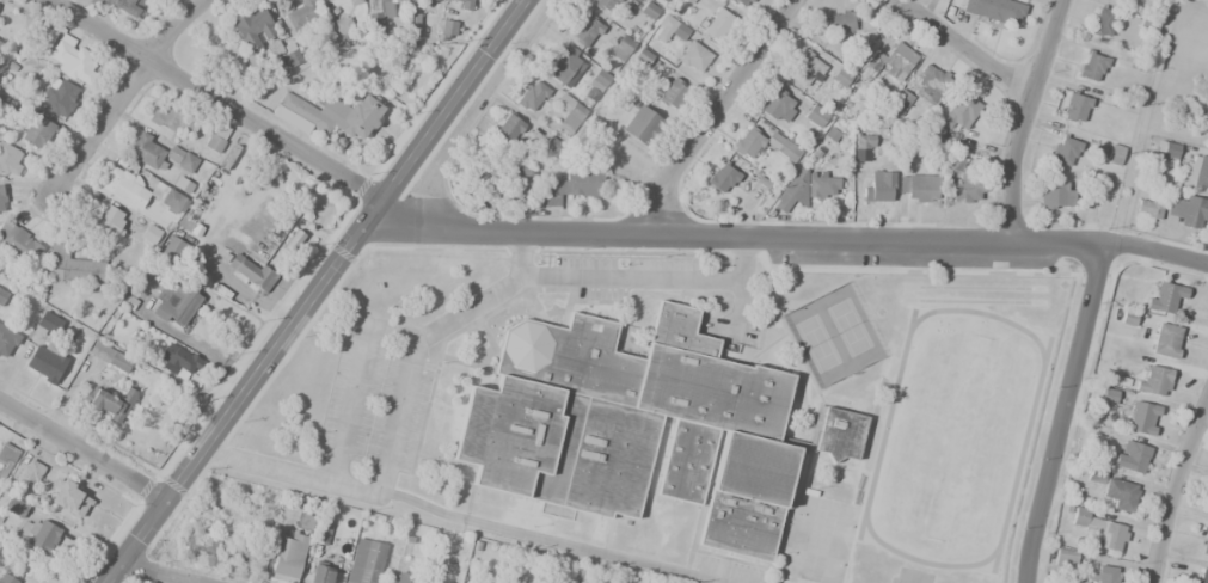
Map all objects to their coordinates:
building: (329, 0)
building: (436, 0)
building: (663, 0)
building: (352, 1)
building: (689, 1)
building: (88, 2)
building: (742, 2)
building: (461, 4)
building: (605, 5)
building: (127, 7)
building: (993, 10)
building: (649, 11)
building: (381, 13)
building: (302, 14)
building: (717, 22)
building: (841, 22)
building: (1103, 22)
building: (412, 25)
building: (341, 26)
building: (447, 29)
building: (664, 29)
building: (255, 31)
building: (587, 31)
building: (0, 43)
building: (621, 48)
road: (963, 49)
building: (63, 53)
building: (694, 57)
building: (290, 59)
building: (890, 62)
building: (564, 63)
building: (1092, 67)
building: (808, 69)
park: (1179, 75)
building: (599, 79)
building: (930, 84)
road: (123, 92)
building: (673, 93)
building: (532, 96)
road: (215, 97)
building: (60, 99)
building: (900, 100)
building: (779, 106)
building: (1075, 108)
building: (958, 110)
building: (569, 112)
road: (711, 112)
building: (330, 115)
building: (814, 116)
road: (1023, 117)
building: (166, 119)
building: (642, 124)
building: (508, 128)
building: (37, 131)
building: (219, 139)
building: (863, 141)
building: (748, 142)
building: (550, 148)
building: (1166, 149)
building: (787, 151)
building: (1063, 151)
building: (158, 153)
building: (1114, 154)
building: (10, 160)
building: (485, 167)
building: (1196, 168)
building: (722, 178)
building: (522, 179)
building: (572, 185)
building: (875, 185)
building: (921, 188)
building: (970, 189)
building: (805, 190)
building: (143, 192)
building: (1056, 195)
building: (1091, 197)
building: (1, 201)
building: (1148, 208)
building: (1194, 213)
building: (109, 221)
building: (149, 234)
road: (780, 237)
building: (18, 243)
building: (173, 250)
building: (74, 265)
building: (251, 272)
road: (308, 290)
building: (2, 295)
building: (1163, 295)
building: (174, 300)
park: (848, 327)
building: (1166, 339)
building: (6, 340)
park: (815, 343)
building: (44, 352)
building: (109, 356)
building: (176, 357)
building: (1153, 380)
building: (110, 401)
road: (1060, 412)
building: (1142, 418)
building: (642, 426)
track: (1025, 437)
road: (82, 446)
building: (1130, 455)
building: (6, 458)
building: (30, 473)
road: (1172, 486)
building: (1115, 489)
building: (70, 498)
building: (14, 507)
building: (1098, 527)
building: (38, 533)
building: (201, 544)
building: (1204, 544)
building: (292, 550)
building: (241, 558)
building: (1065, 558)
building: (364, 561)
road: (159, 571)
building: (320, 573)
building: (1100, 573)
building: (1201, 576)
building: (406, 577)
building: (7, 579)

